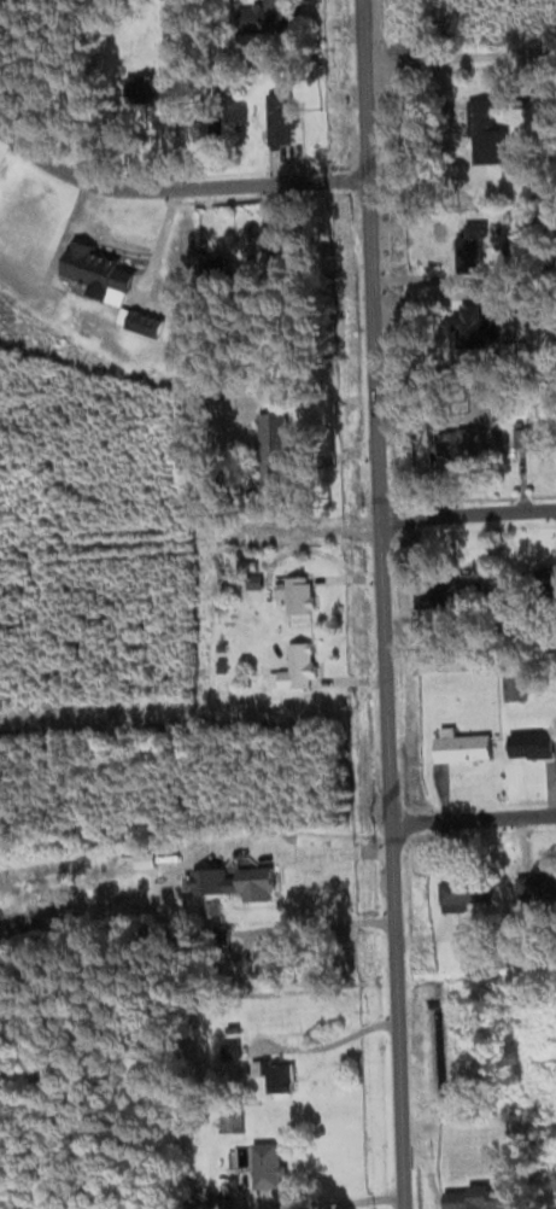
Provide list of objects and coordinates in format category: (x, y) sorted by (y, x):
building: (264, 16)
building: (1, 19)
road: (457, 54)
building: (159, 89)
building: (137, 112)
building: (285, 112)
building: (486, 133)
road: (174, 188)
building: (470, 244)
building: (285, 247)
building: (218, 267)
building: (96, 268)
building: (145, 322)
building: (485, 337)
building: (533, 436)
building: (451, 442)
building: (275, 445)
road: (466, 513)
building: (538, 580)
building: (297, 591)
building: (450, 595)
road: (380, 603)
building: (294, 667)
road: (192, 719)
building: (533, 742)
building: (464, 746)
road: (473, 818)
building: (258, 881)
building: (537, 888)
building: (464, 893)
building: (212, 906)
building: (486, 957)
building: (275, 963)
building: (283, 1068)
building: (239, 1122)
building: (230, 1160)
building: (269, 1166)
building: (207, 1170)
building: (221, 1179)
building: (233, 1182)
building: (211, 1195)
building: (475, 1199)
road: (317, 1202)

